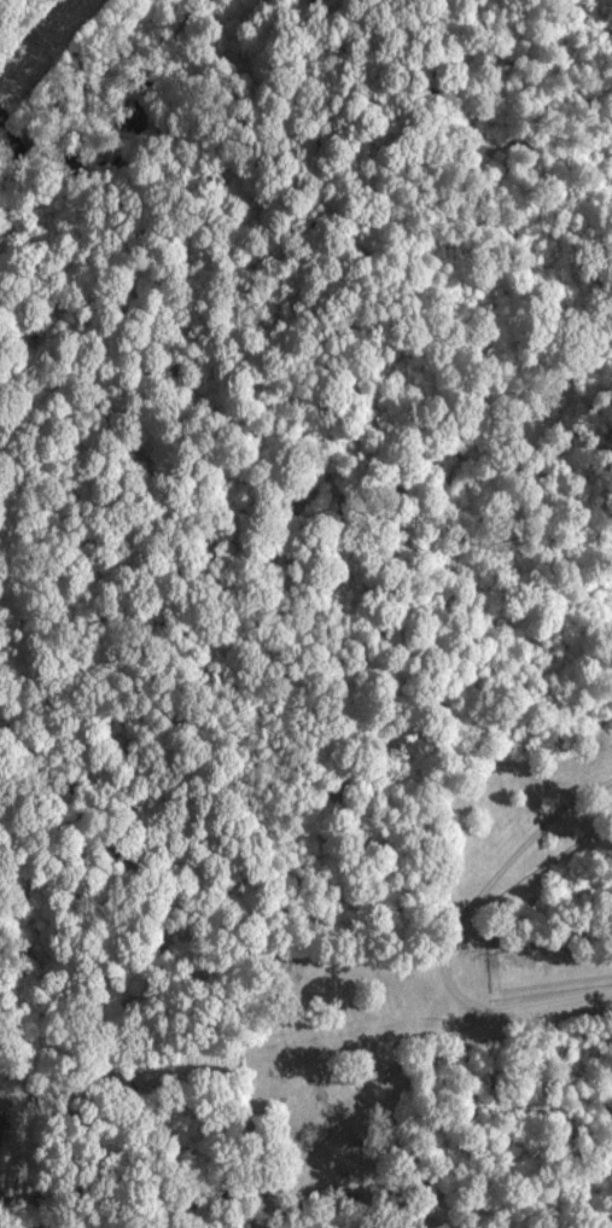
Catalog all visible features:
road: (483, 892)
road: (385, 1073)
road: (173, 1212)

